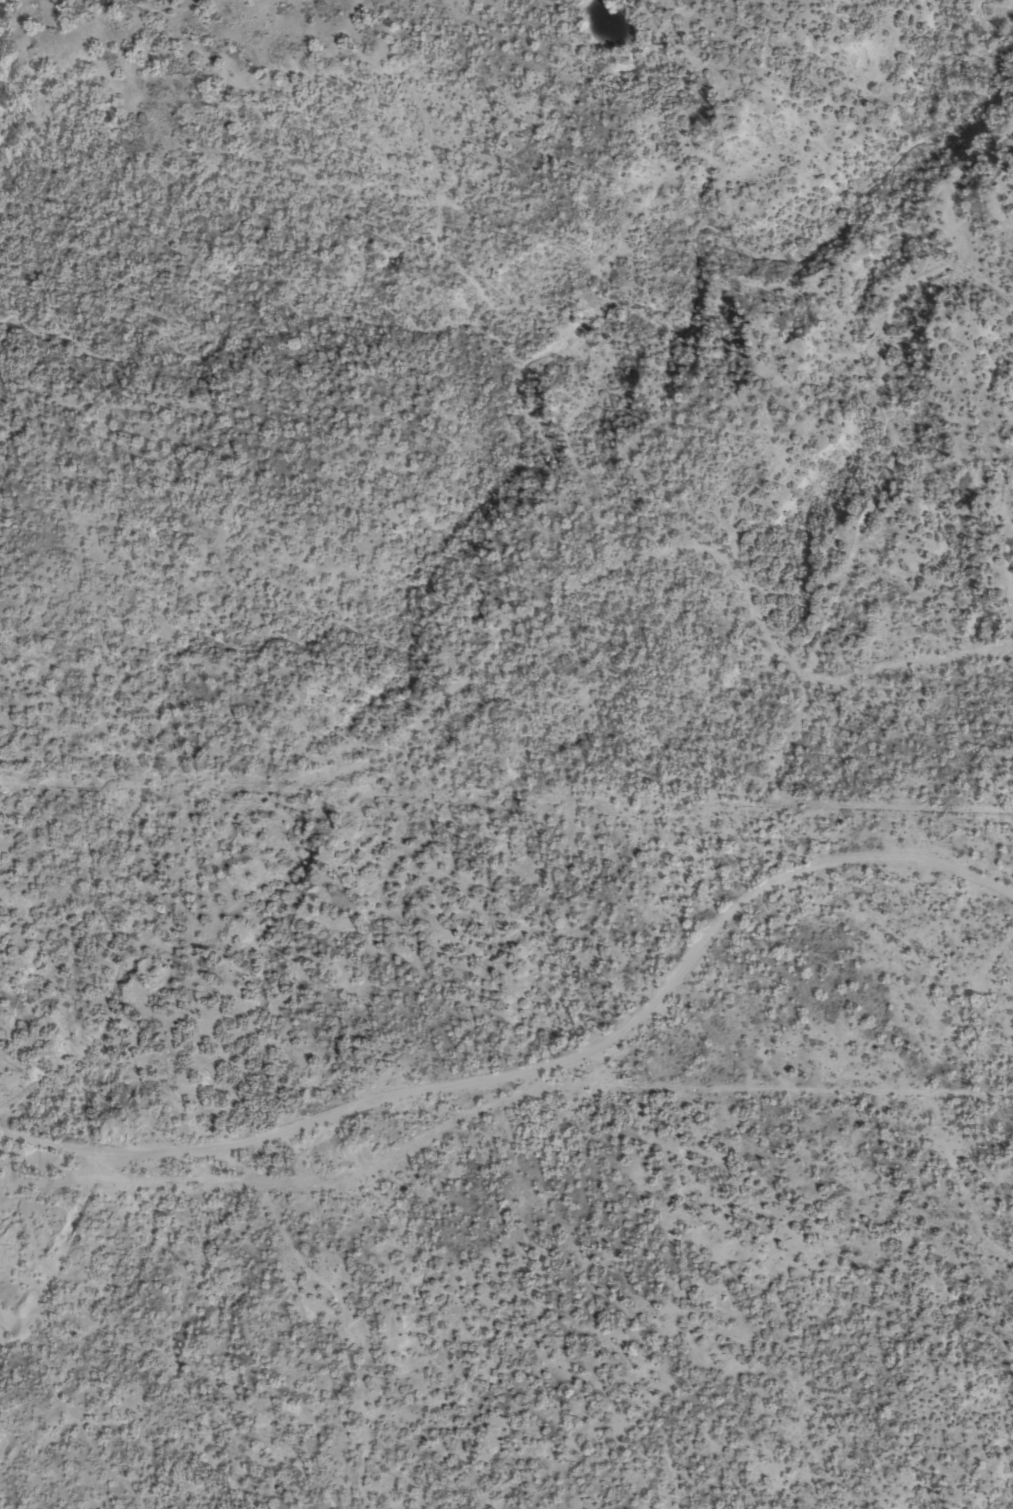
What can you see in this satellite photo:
road: (542, 1087)

